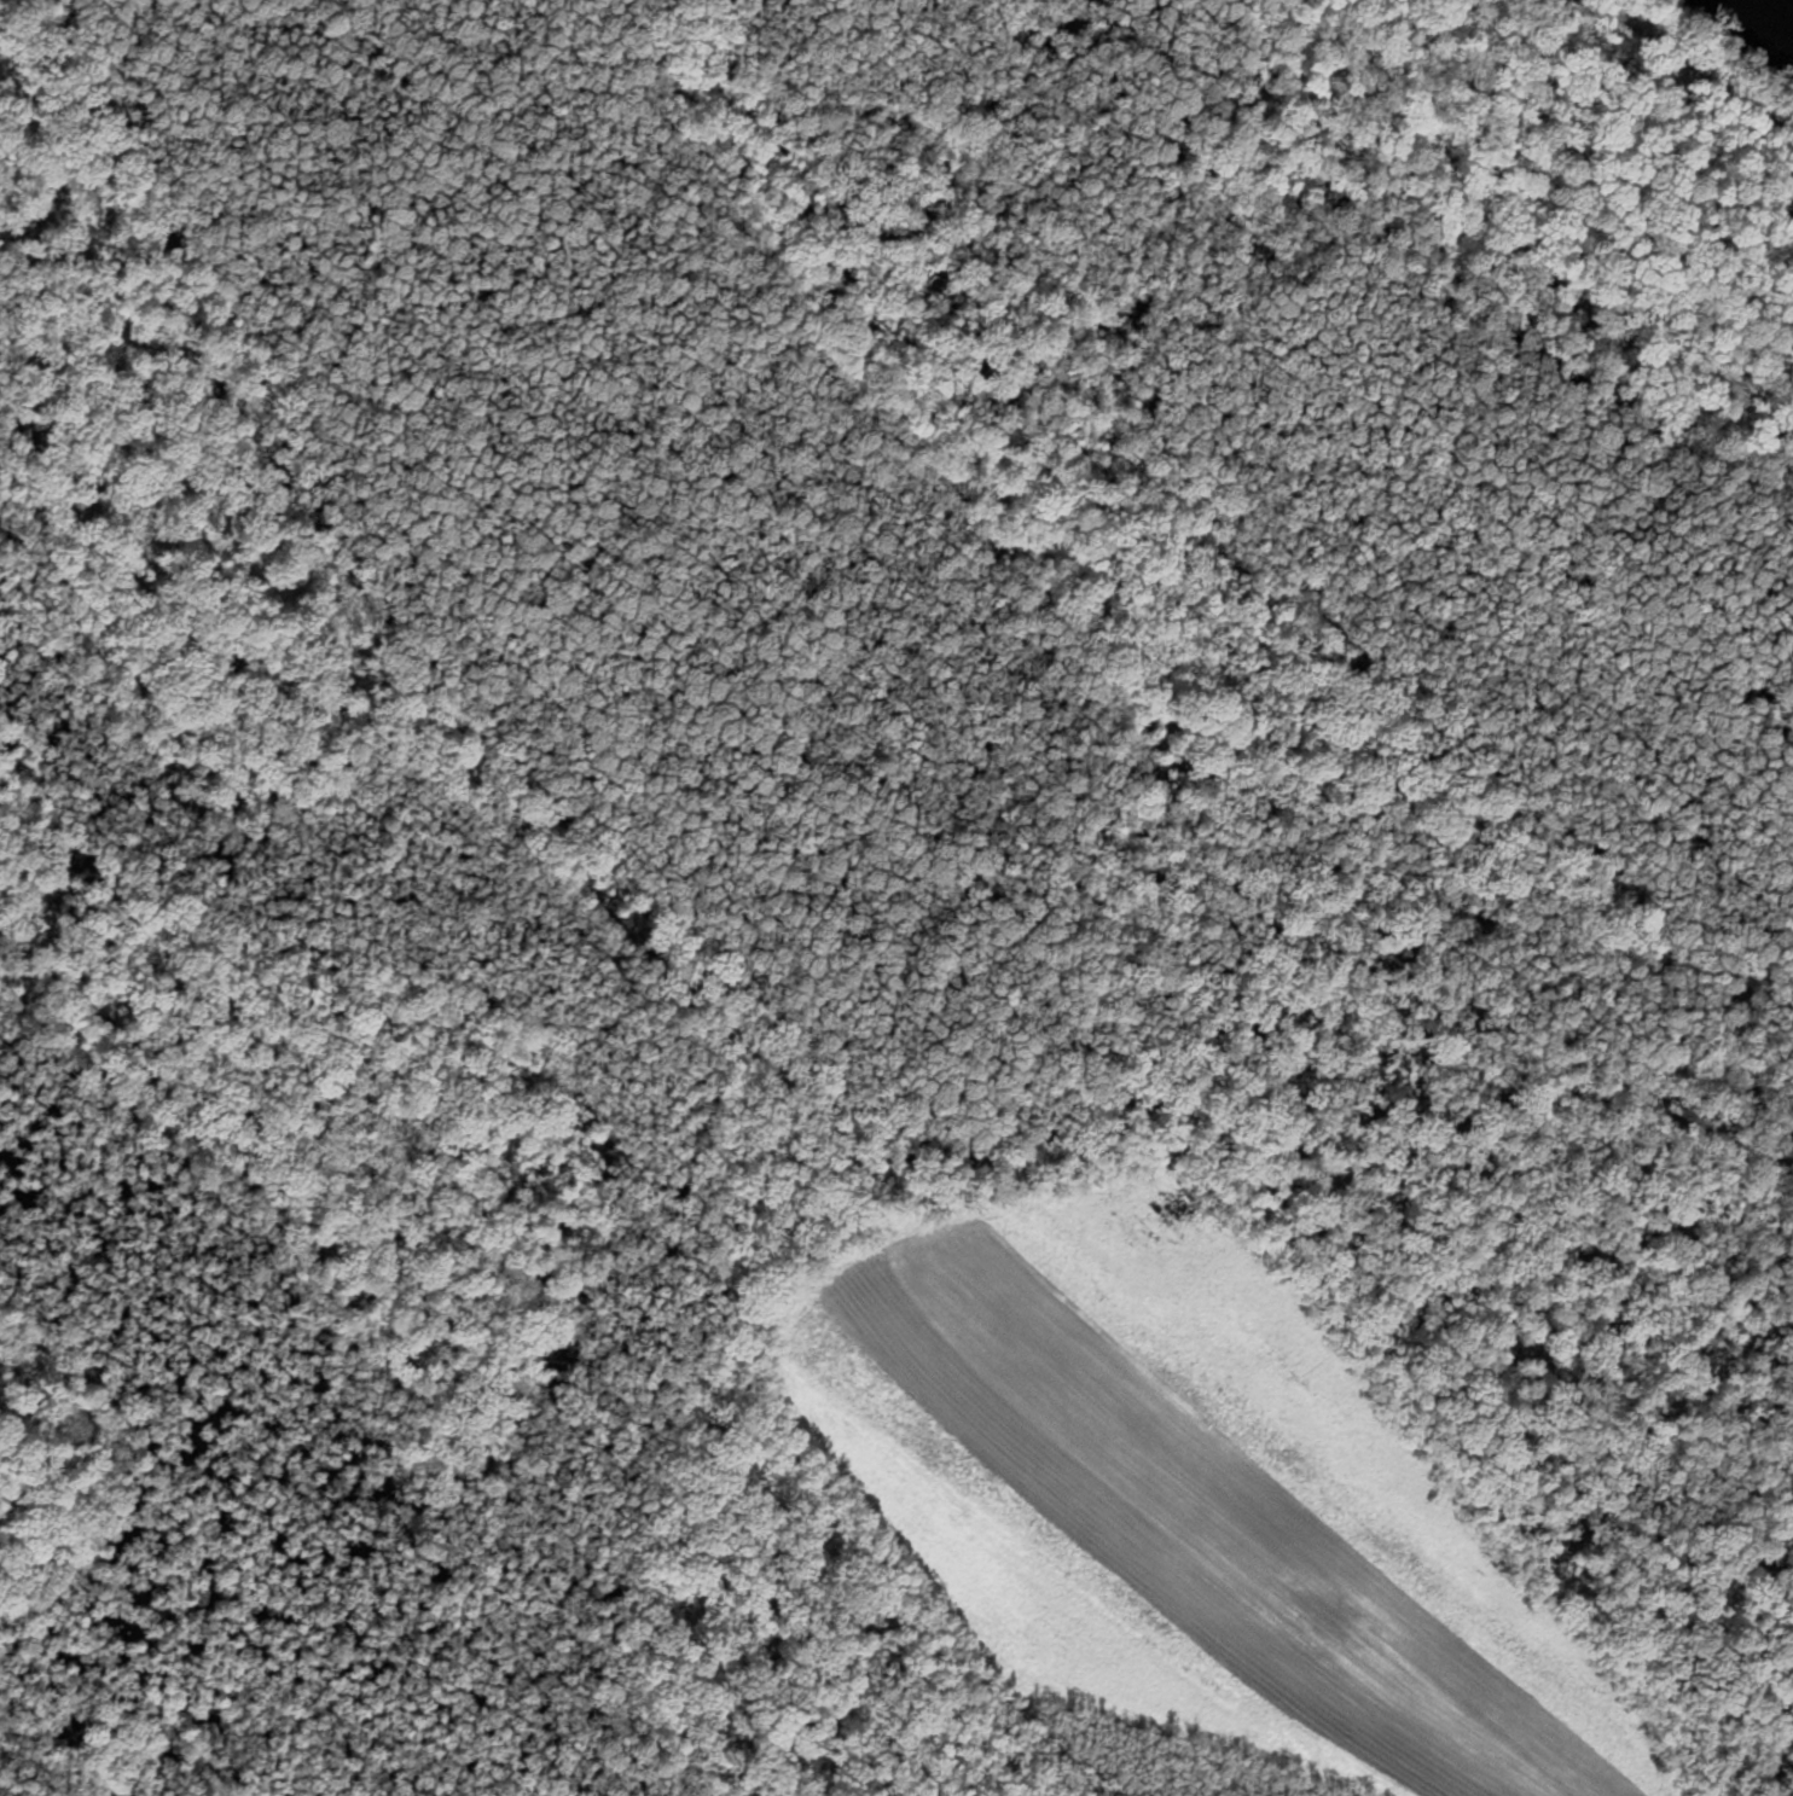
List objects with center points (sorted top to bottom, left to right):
road: (1685, 74)

